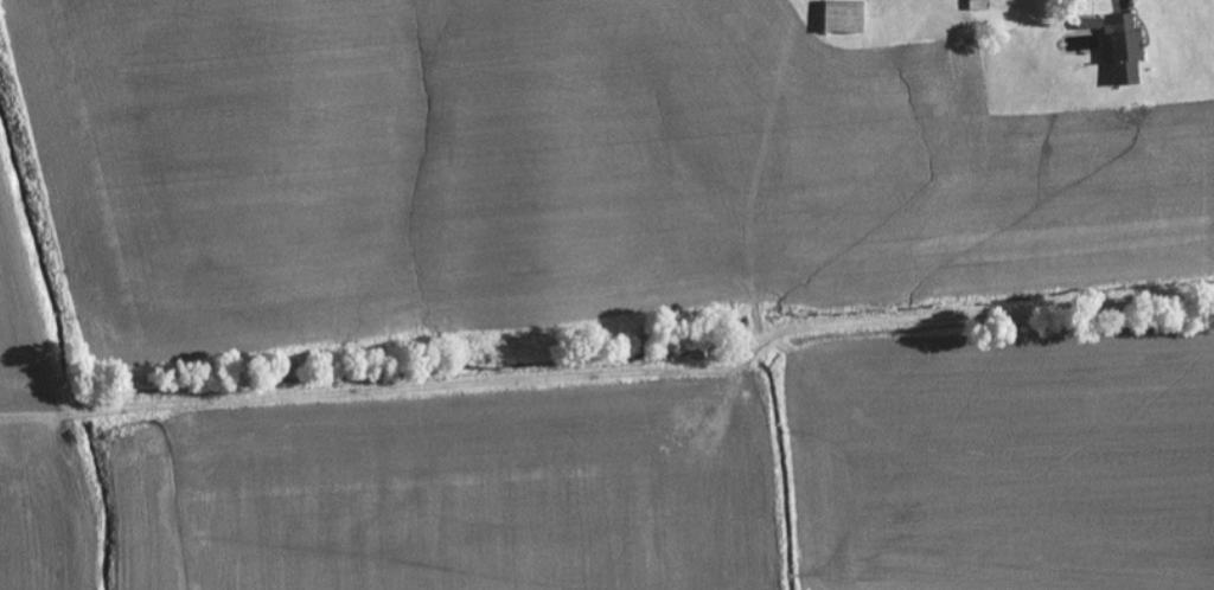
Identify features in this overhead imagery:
building: (838, 17)
building: (1113, 47)

